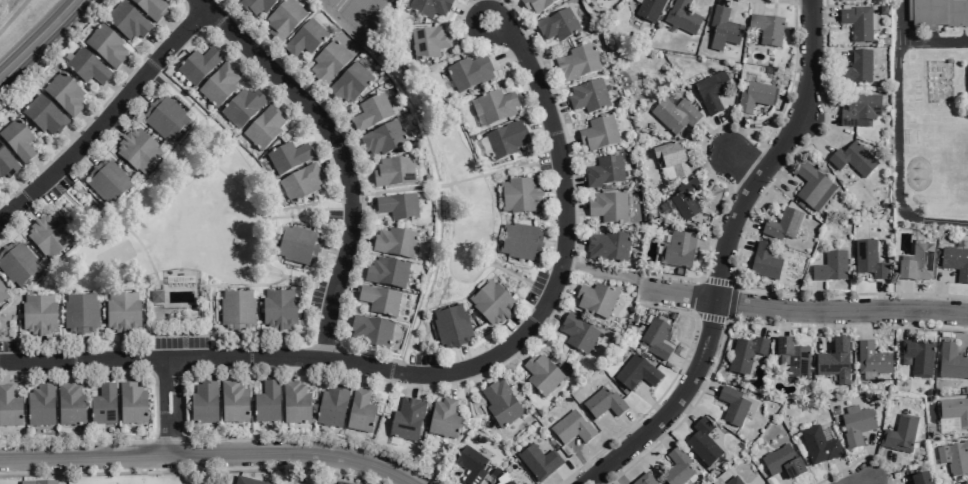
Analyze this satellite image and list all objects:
building: (607, 0)
building: (865, 0)
road: (790, 1)
road: (493, 2)
road: (476, 3)
road: (722, 3)
road: (190, 4)
road: (482, 5)
building: (536, 5)
road: (758, 5)
road: (217, 6)
building: (256, 6)
building: (430, 7)
building: (150, 8)
road: (462, 10)
building: (649, 10)
road: (512, 12)
building: (938, 13)
road: (12, 14)
road: (823, 14)
road: (460, 16)
building: (682, 17)
road: (232, 18)
building: (284, 19)
building: (126, 22)
building: (857, 22)
building: (558, 25)
road: (172, 27)
building: (766, 29)
building: (723, 30)
road: (464, 36)
road: (520, 38)
building: (305, 39)
road: (40, 40)
road: (227, 42)
building: (429, 42)
road: (157, 43)
building: (105, 46)
road: (262, 49)
road: (50, 50)
road: (507, 56)
road: (242, 57)
road: (827, 58)
road: (277, 62)
building: (329, 62)
building: (576, 63)
building: (198, 66)
building: (86, 67)
road: (149, 67)
building: (858, 68)
building: (470, 73)
road: (130, 74)
road: (545, 74)
building: (350, 83)
road: (271, 84)
building: (219, 85)
road: (116, 89)
building: (711, 91)
road: (308, 92)
building: (64, 94)
road: (530, 94)
road: (138, 95)
building: (588, 97)
building: (754, 97)
road: (285, 98)
road: (321, 105)
road: (100, 106)
building: (496, 106)
building: (242, 108)
road: (556, 108)
building: (859, 109)
building: (371, 113)
building: (44, 115)
building: (674, 115)
road: (106, 116)
road: (820, 117)
building: (165, 118)
road: (88, 121)
road: (111, 126)
road: (541, 127)
road: (719, 127)
building: (264, 128)
road: (341, 133)
building: (598, 134)
road: (723, 135)
road: (737, 135)
road: (73, 137)
road: (813, 137)
building: (383, 138)
road: (715, 139)
building: (17, 140)
building: (506, 140)
road: (565, 142)
road: (323, 143)
road: (209, 147)
road: (348, 150)
building: (137, 151)
road: (339, 153)
road: (82, 157)
building: (288, 157)
building: (671, 158)
road: (548, 160)
building: (852, 160)
road: (711, 161)
road: (331, 162)
building: (7, 164)
road: (742, 165)
road: (715, 167)
road: (39, 170)
building: (604, 171)
building: (394, 172)
road: (778, 176)
road: (357, 180)
road: (359, 180)
building: (107, 182)
building: (301, 183)
road: (449, 183)
road: (572, 183)
road: (23, 185)
building: (812, 187)
road: (356, 195)
road: (554, 195)
building: (520, 196)
building: (686, 199)
building: (397, 206)
park: (451, 206)
road: (361, 207)
building: (608, 207)
road: (346, 208)
road: (25, 209)
road: (573, 210)
road: (131, 217)
road: (268, 218)
road: (746, 221)
road: (714, 222)
park: (180, 224)
building: (782, 225)
building: (48, 237)
road: (359, 240)
building: (520, 242)
building: (395, 243)
road: (738, 243)
road: (574, 244)
road: (712, 244)
road: (740, 244)
building: (298, 246)
building: (608, 246)
road: (142, 247)
road: (554, 248)
road: (564, 248)
building: (677, 250)
road: (723, 254)
road: (333, 255)
building: (869, 260)
building: (764, 262)
building: (917, 263)
building: (956, 263)
building: (17, 264)
road: (566, 265)
building: (830, 267)
road: (350, 269)
building: (386, 272)
road: (609, 272)
road: (449, 274)
road: (716, 281)
road: (255, 284)
road: (322, 285)
road: (564, 285)
road: (645, 288)
road: (539, 289)
road: (939, 289)
road: (344, 290)
building: (2, 295)
road: (819, 296)
road: (881, 296)
building: (156, 297)
road: (905, 297)
building: (596, 300)
building: (379, 301)
road: (419, 301)
road: (731, 302)
building: (492, 303)
road: (434, 305)
road: (806, 309)
building: (236, 310)
building: (279, 310)
road: (418, 311)
road: (552, 311)
building: (122, 313)
building: (80, 314)
building: (38, 315)
road: (710, 317)
road: (337, 319)
road: (767, 321)
road: (743, 322)
road: (782, 322)
road: (911, 323)
road: (864, 324)
building: (451, 327)
road: (516, 327)
road: (819, 329)
building: (371, 331)
road: (408, 332)
building: (578, 334)
road: (955, 336)
building: (656, 339)
road: (967, 344)
road: (238, 346)
road: (280, 346)
road: (330, 346)
road: (122, 348)
road: (81, 349)
road: (39, 351)
road: (518, 351)
building: (745, 354)
road: (161, 358)
building: (918, 358)
building: (793, 359)
building: (872, 359)
road: (461, 360)
building: (834, 361)
building: (951, 362)
road: (416, 363)
road: (360, 364)
road: (683, 364)
road: (229, 366)
road: (269, 366)
road: (290, 366)
road: (206, 367)
road: (127, 368)
road: (106, 369)
road: (169, 369)
road: (43, 370)
road: (65, 370)
road: (2, 371)
road: (342, 371)
road: (398, 372)
road: (481, 373)
building: (636, 373)
road: (364, 374)
building: (541, 375)
road: (380, 379)
road: (168, 380)
road: (415, 384)
road: (449, 384)
road: (703, 385)
building: (901, 387)
road: (661, 393)
building: (928, 393)
building: (233, 402)
building: (204, 403)
building: (266, 403)
building: (295, 403)
building: (603, 403)
road: (650, 403)
building: (132, 404)
building: (500, 404)
building: (70, 405)
road: (154, 405)
building: (40, 406)
building: (103, 406)
building: (732, 406)
building: (332, 407)
building: (9, 408)
road: (686, 408)
building: (954, 411)
building: (360, 412)
building: (443, 419)
building: (406, 420)
road: (632, 425)
building: (856, 426)
building: (571, 428)
building: (900, 434)
road: (660, 436)
road: (170, 438)
road: (169, 439)
building: (702, 443)
building: (818, 445)
road: (208, 454)
building: (954, 457)
road: (858, 458)
road: (581, 460)
road: (869, 460)
building: (538, 461)
building: (782, 462)
building: (470, 465)
road: (877, 466)
building: (676, 468)
road: (187, 471)
road: (844, 472)
road: (615, 474)
road: (567, 475)
road: (302, 476)
park: (147, 479)
building: (643, 479)
building: (920, 479)
building: (247, 481)
building: (733, 481)
road: (781, 481)
road: (858, 481)
building: (38, 482)
road: (880, 482)
road: (301, 483)
building: (337, 483)
building: (509, 483)
road: (850, 483)

